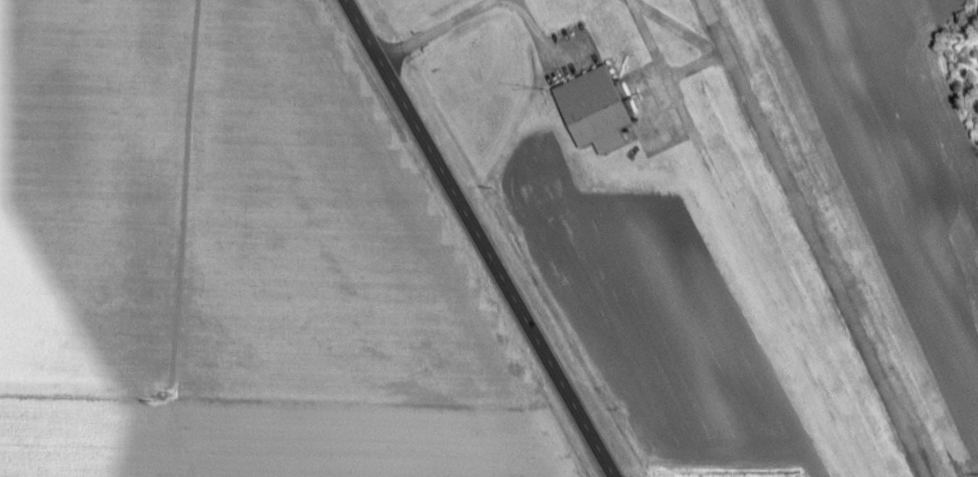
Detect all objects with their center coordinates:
road: (526, 20)
road: (439, 33)
airport taxiway: (709, 39)
parking lot: (567, 52)
airport taxiway: (664, 70)
airport hangar: (599, 100)
building: (599, 100)
road: (479, 238)
airport runway: (815, 238)

